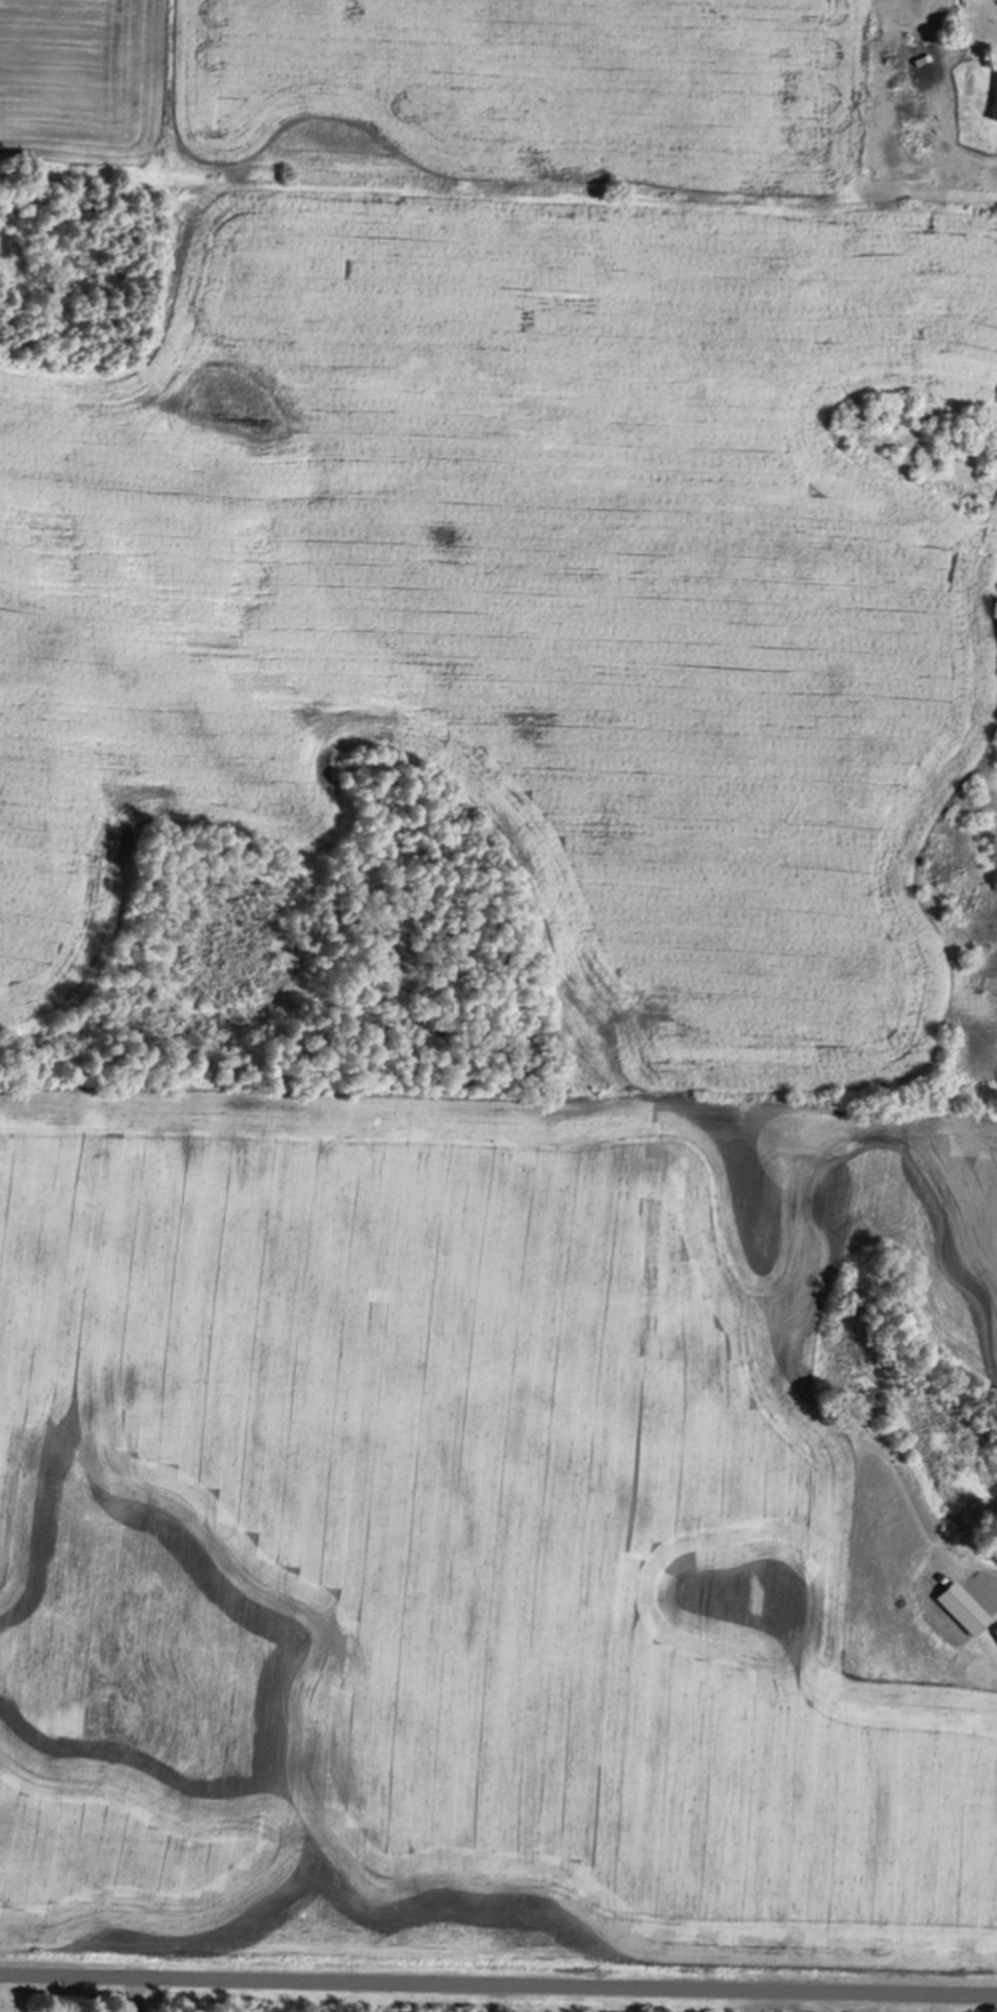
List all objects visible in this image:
building: (921, 57)
building: (995, 100)
road: (498, 1982)

